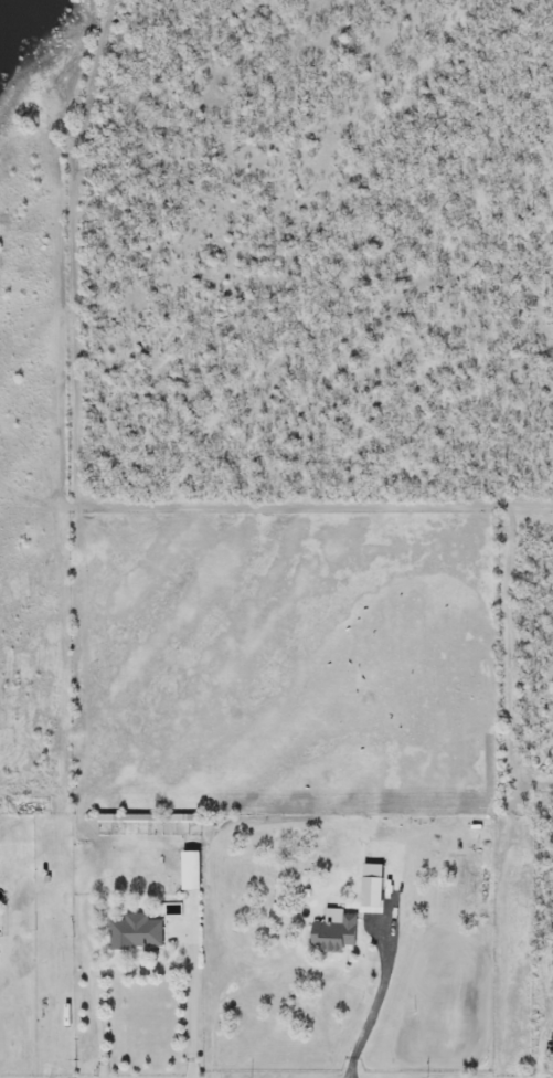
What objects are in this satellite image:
building: (190, 873)
building: (134, 932)
building: (334, 937)
road: (99, 980)
road: (376, 1006)
road: (195, 1007)

